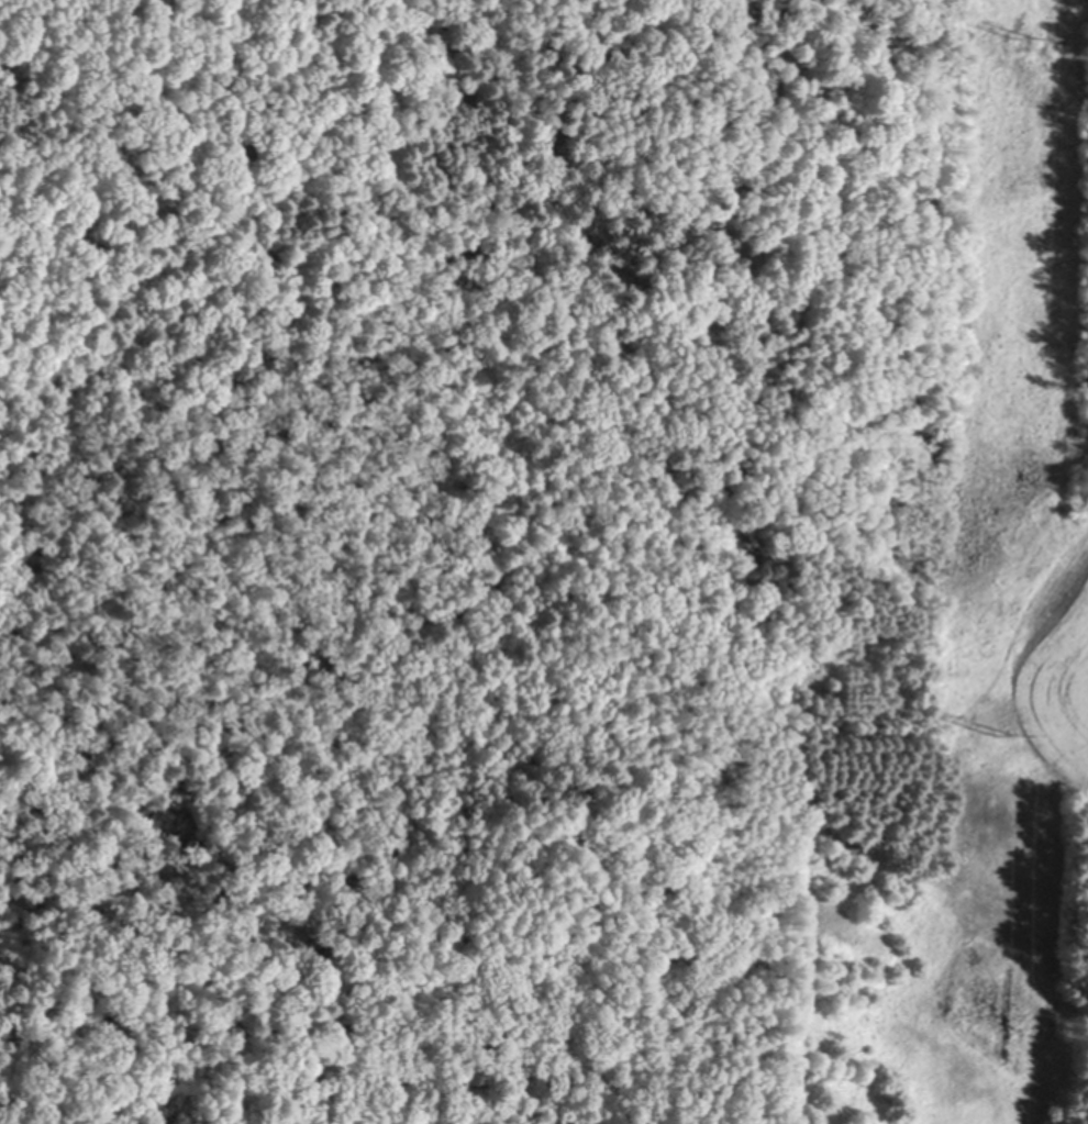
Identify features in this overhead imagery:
power tower: (1021, 33)
power tower: (1001, 728)

